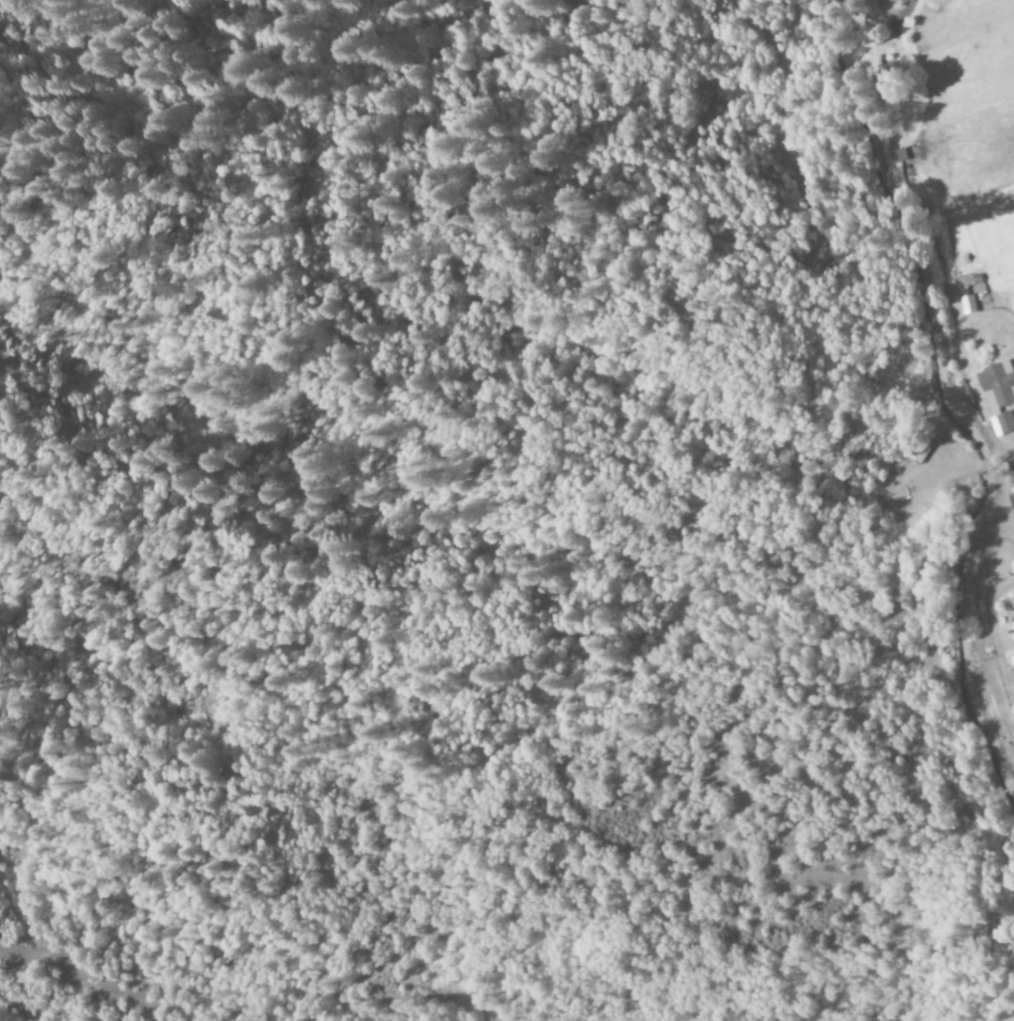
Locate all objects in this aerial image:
building: (894, 157)
building: (965, 285)
building: (968, 305)
building: (998, 396)
building: (1012, 659)

